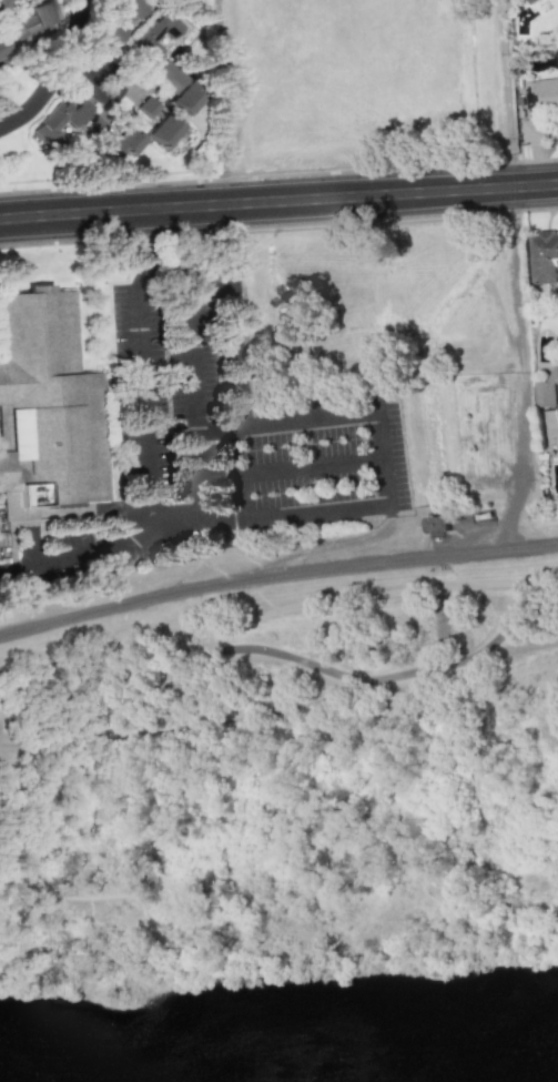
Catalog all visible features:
building: (529, 1)
building: (33, 22)
building: (119, 22)
building: (154, 37)
building: (2, 50)
road: (57, 73)
building: (177, 87)
road: (114, 95)
building: (539, 108)
building: (61, 119)
building: (166, 132)
building: (113, 138)
road: (278, 201)
building: (542, 256)
road: (214, 290)
road: (145, 396)
building: (47, 407)
road: (339, 412)
road: (217, 429)
building: (557, 429)
road: (200, 454)
road: (312, 464)
road: (239, 468)
road: (297, 514)
building: (438, 525)
building: (3, 542)
road: (276, 578)
road: (291, 658)

